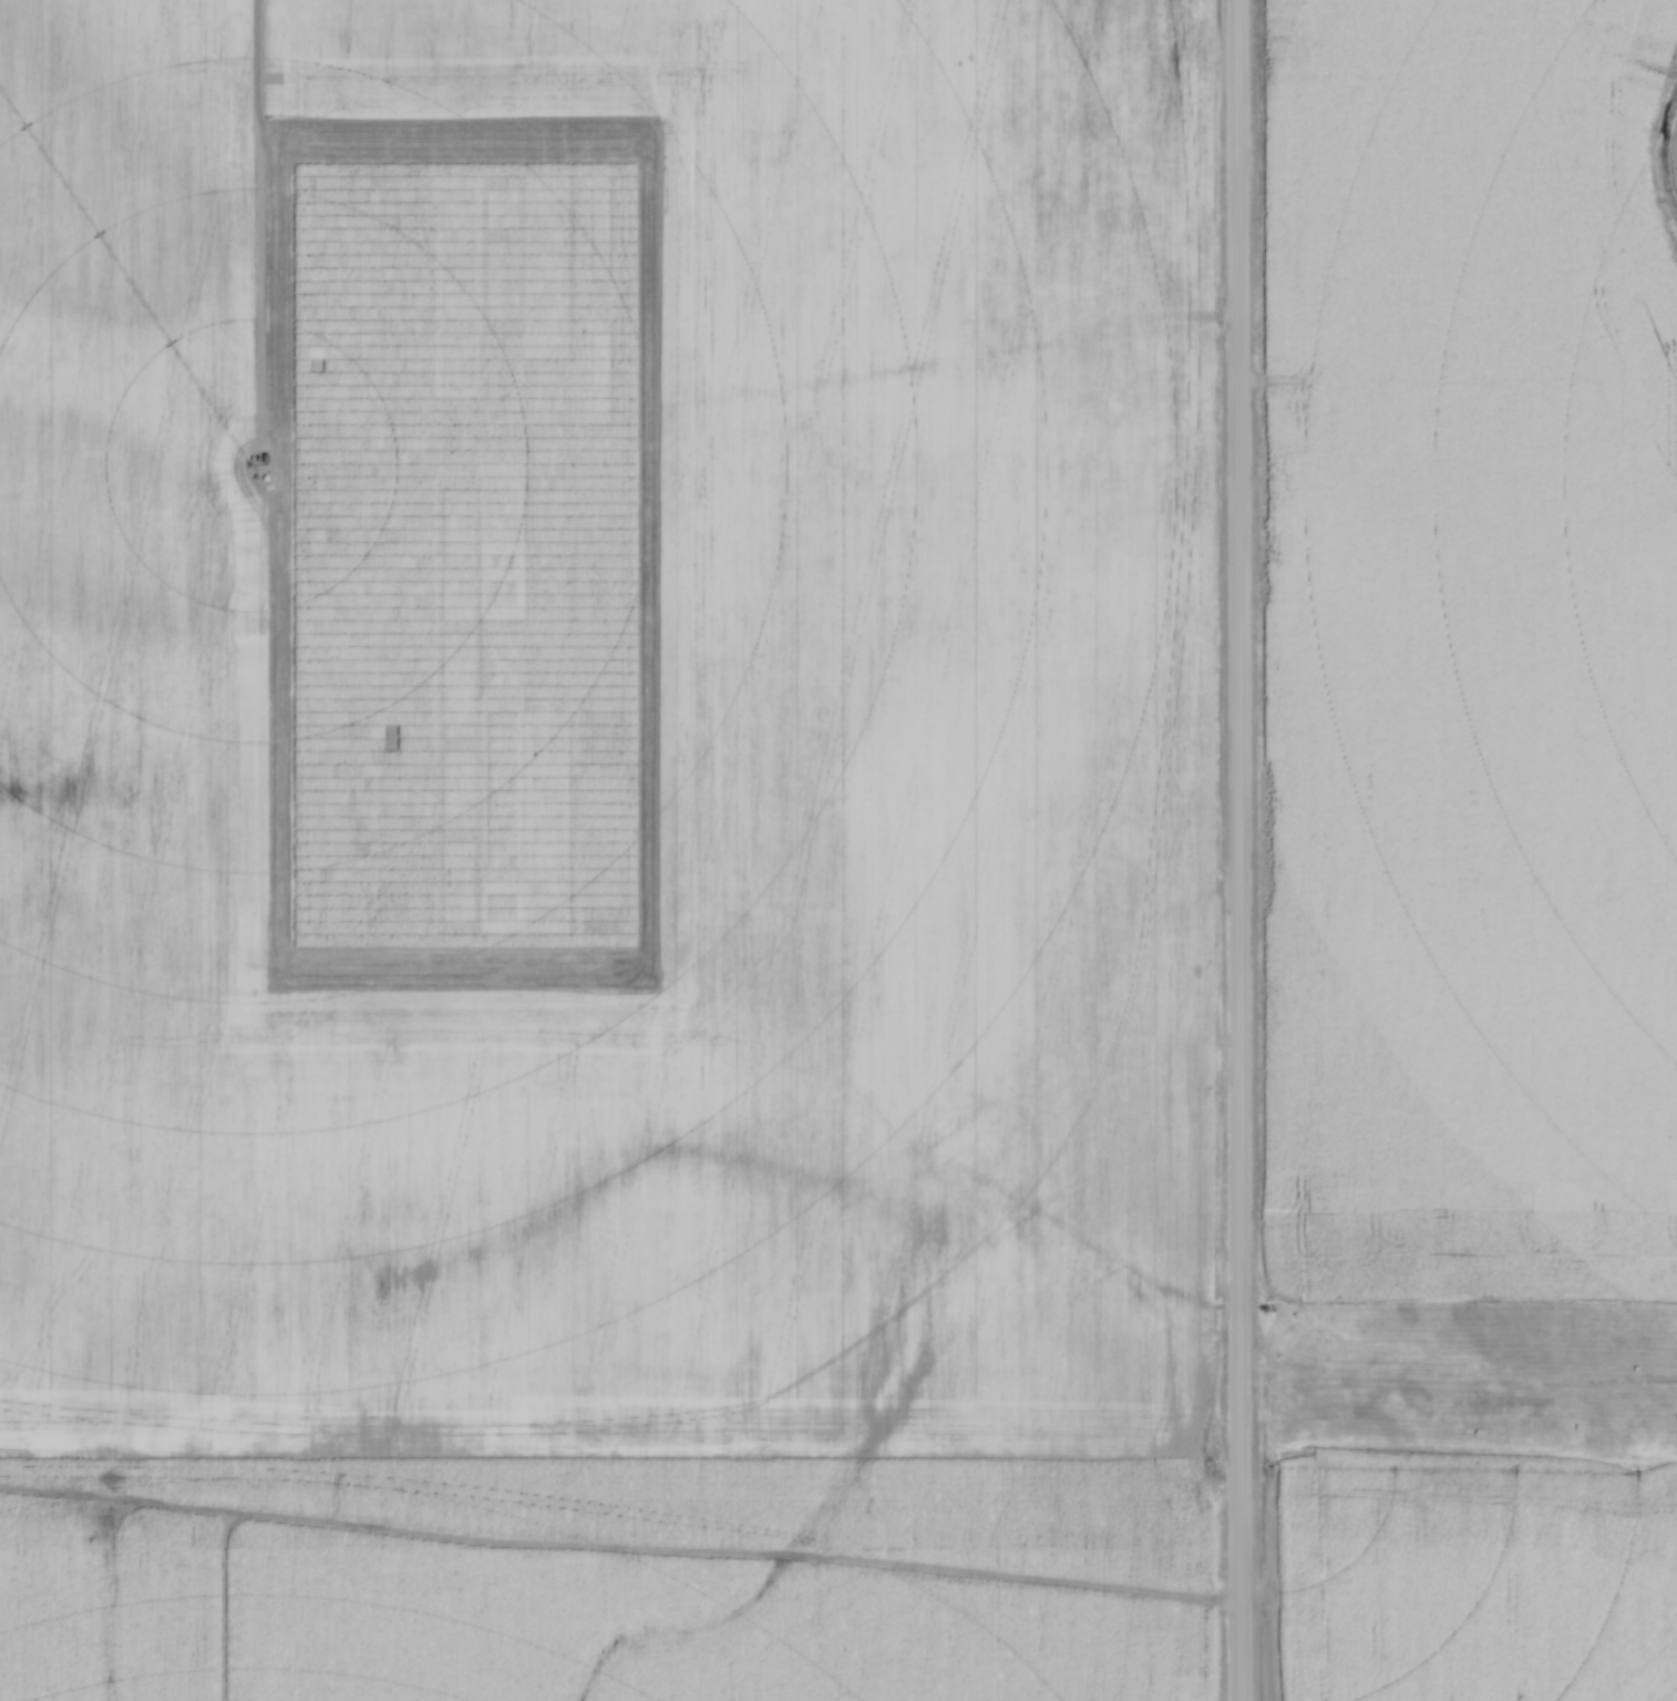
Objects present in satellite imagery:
road: (1241, 850)

